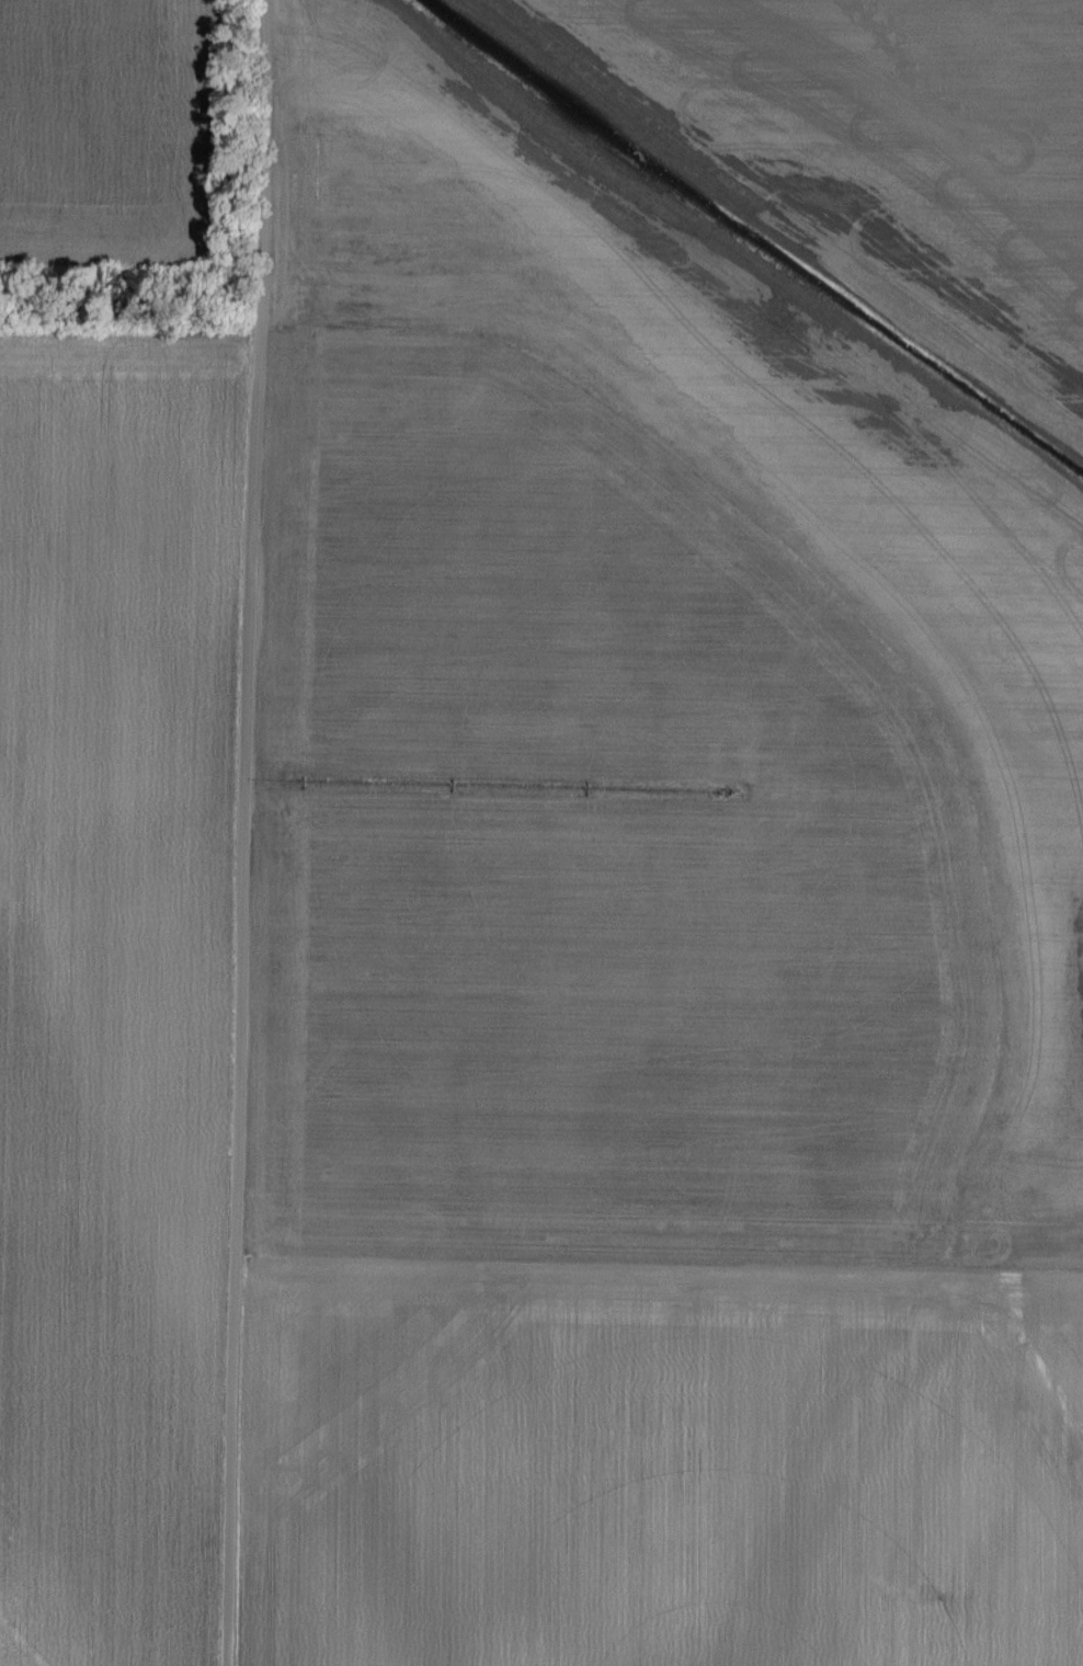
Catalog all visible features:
road: (242, 832)

